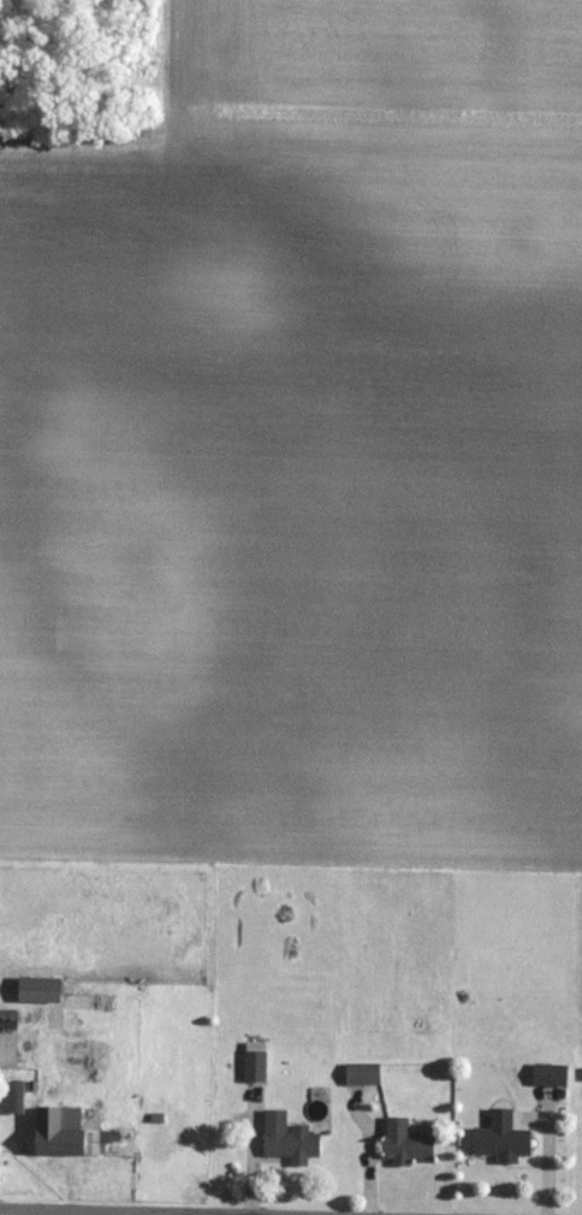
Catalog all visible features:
building: (42, 989)
building: (254, 1061)
building: (360, 1074)
building: (548, 1075)
building: (65, 1131)
building: (286, 1138)
building: (499, 1138)
building: (403, 1143)
road: (118, 1211)

